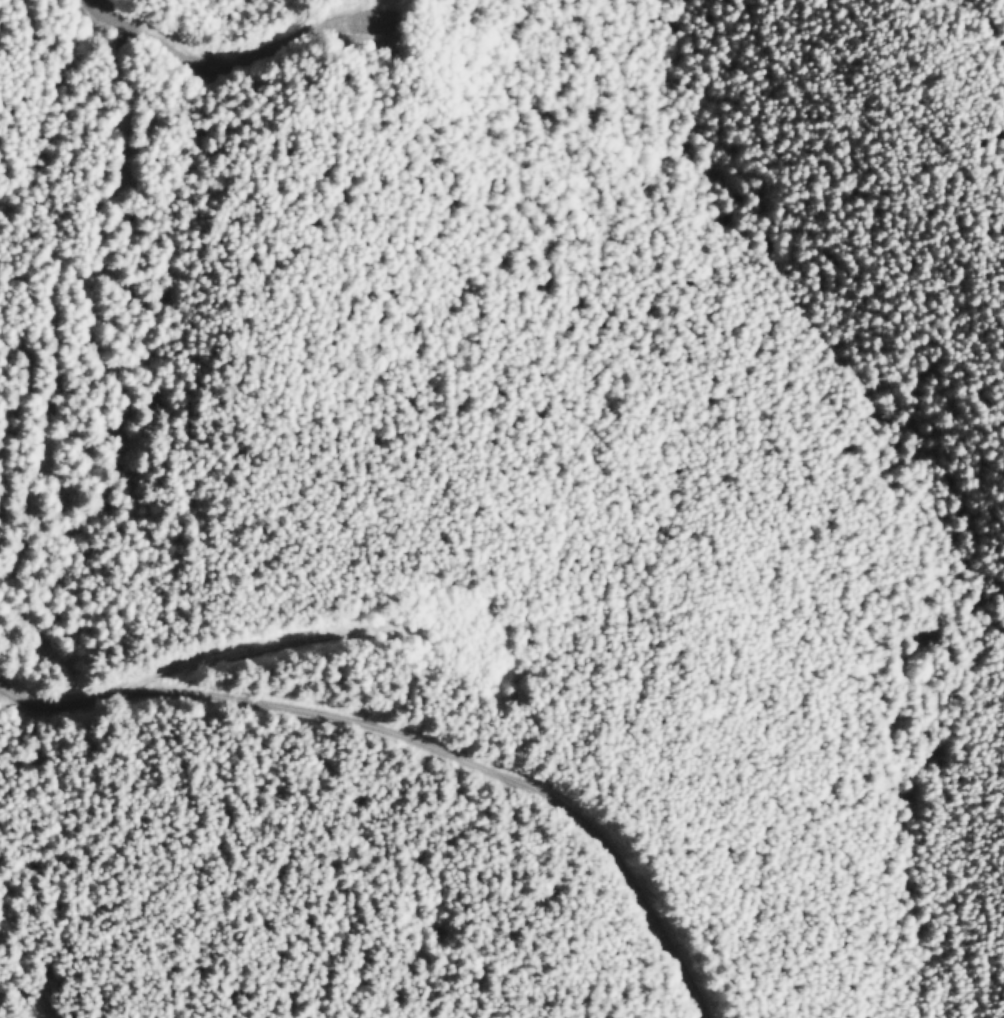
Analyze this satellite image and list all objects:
road: (233, 51)
road: (413, 737)

